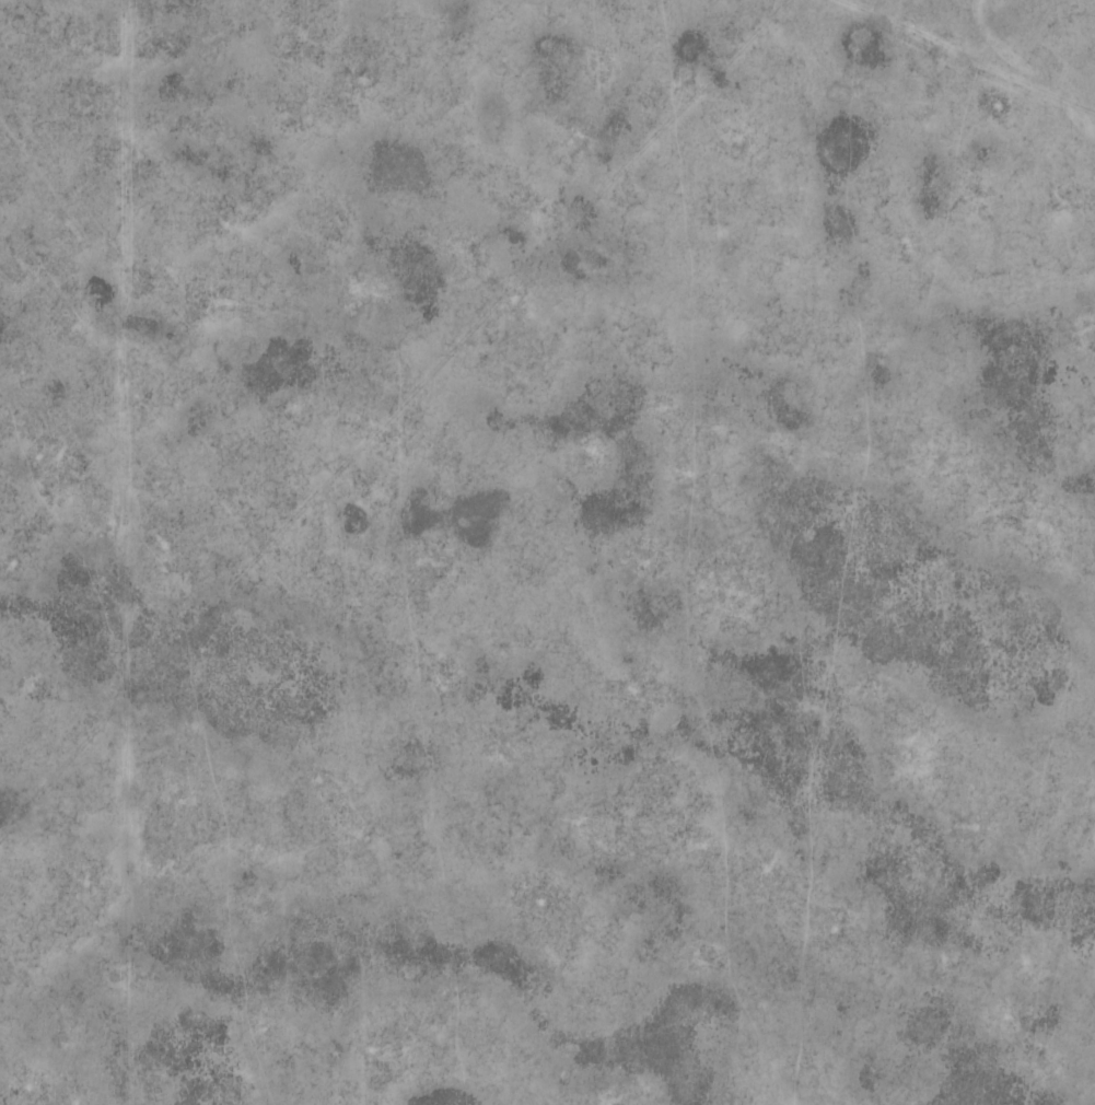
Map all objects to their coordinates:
road: (1041, 23)
road: (137, 552)

